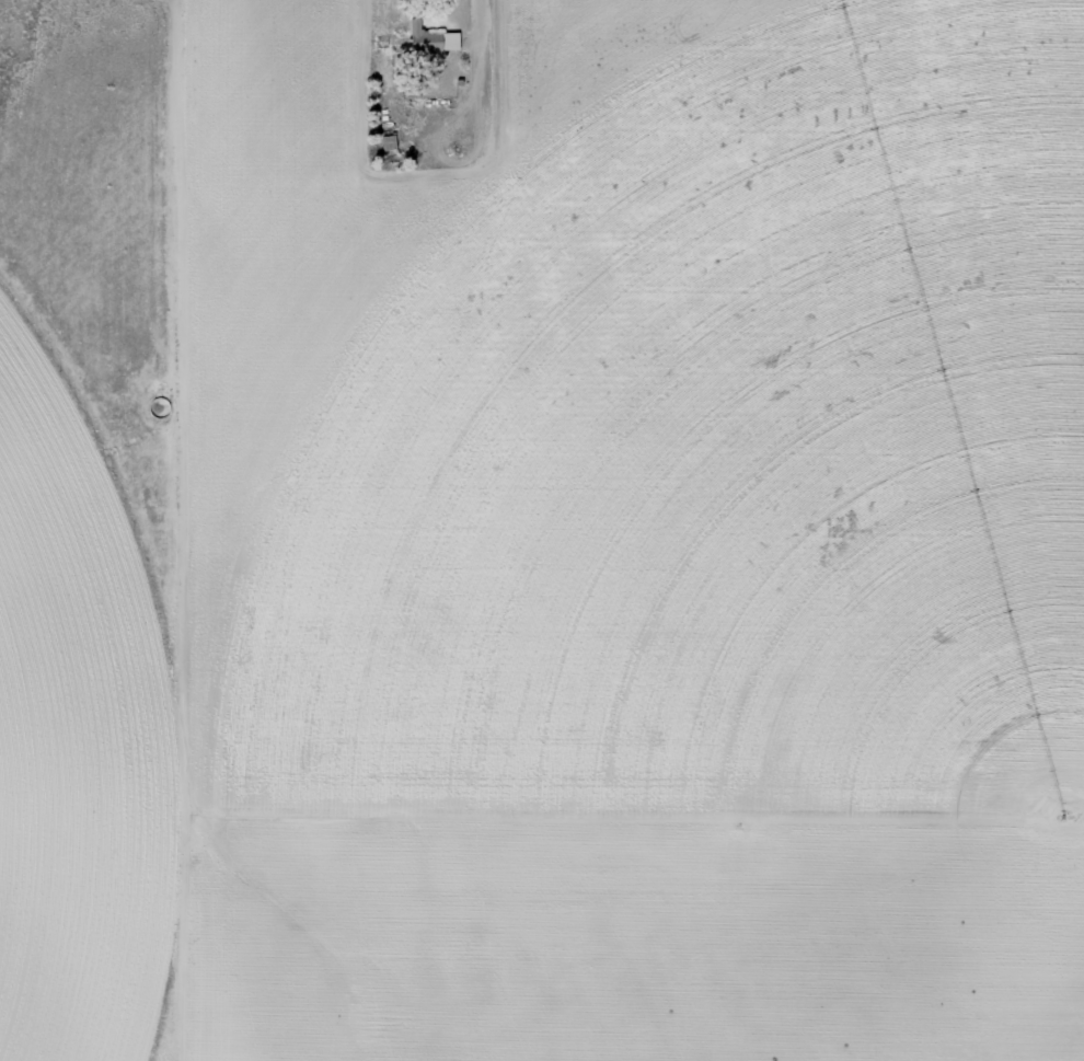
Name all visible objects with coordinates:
road: (477, 15)

